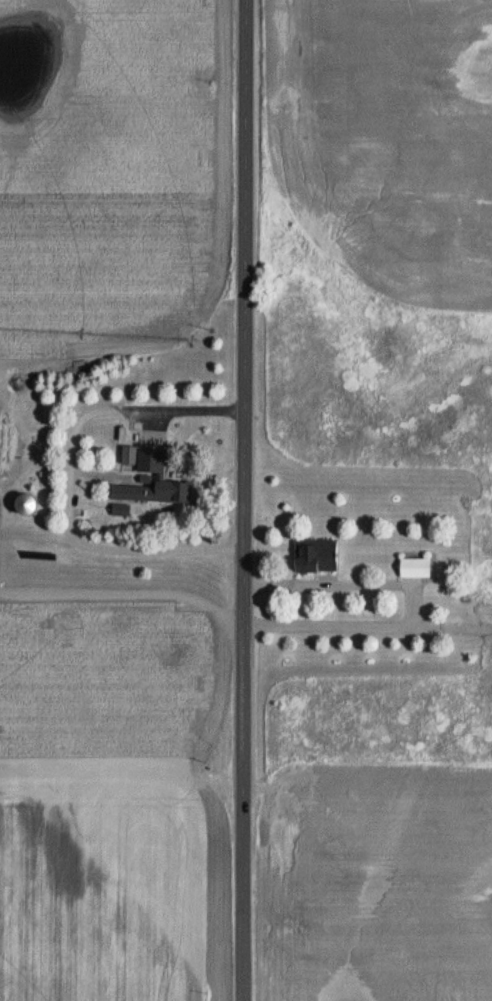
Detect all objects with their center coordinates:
building: (157, 480)
road: (242, 500)
building: (22, 505)
building: (313, 555)
building: (412, 567)

